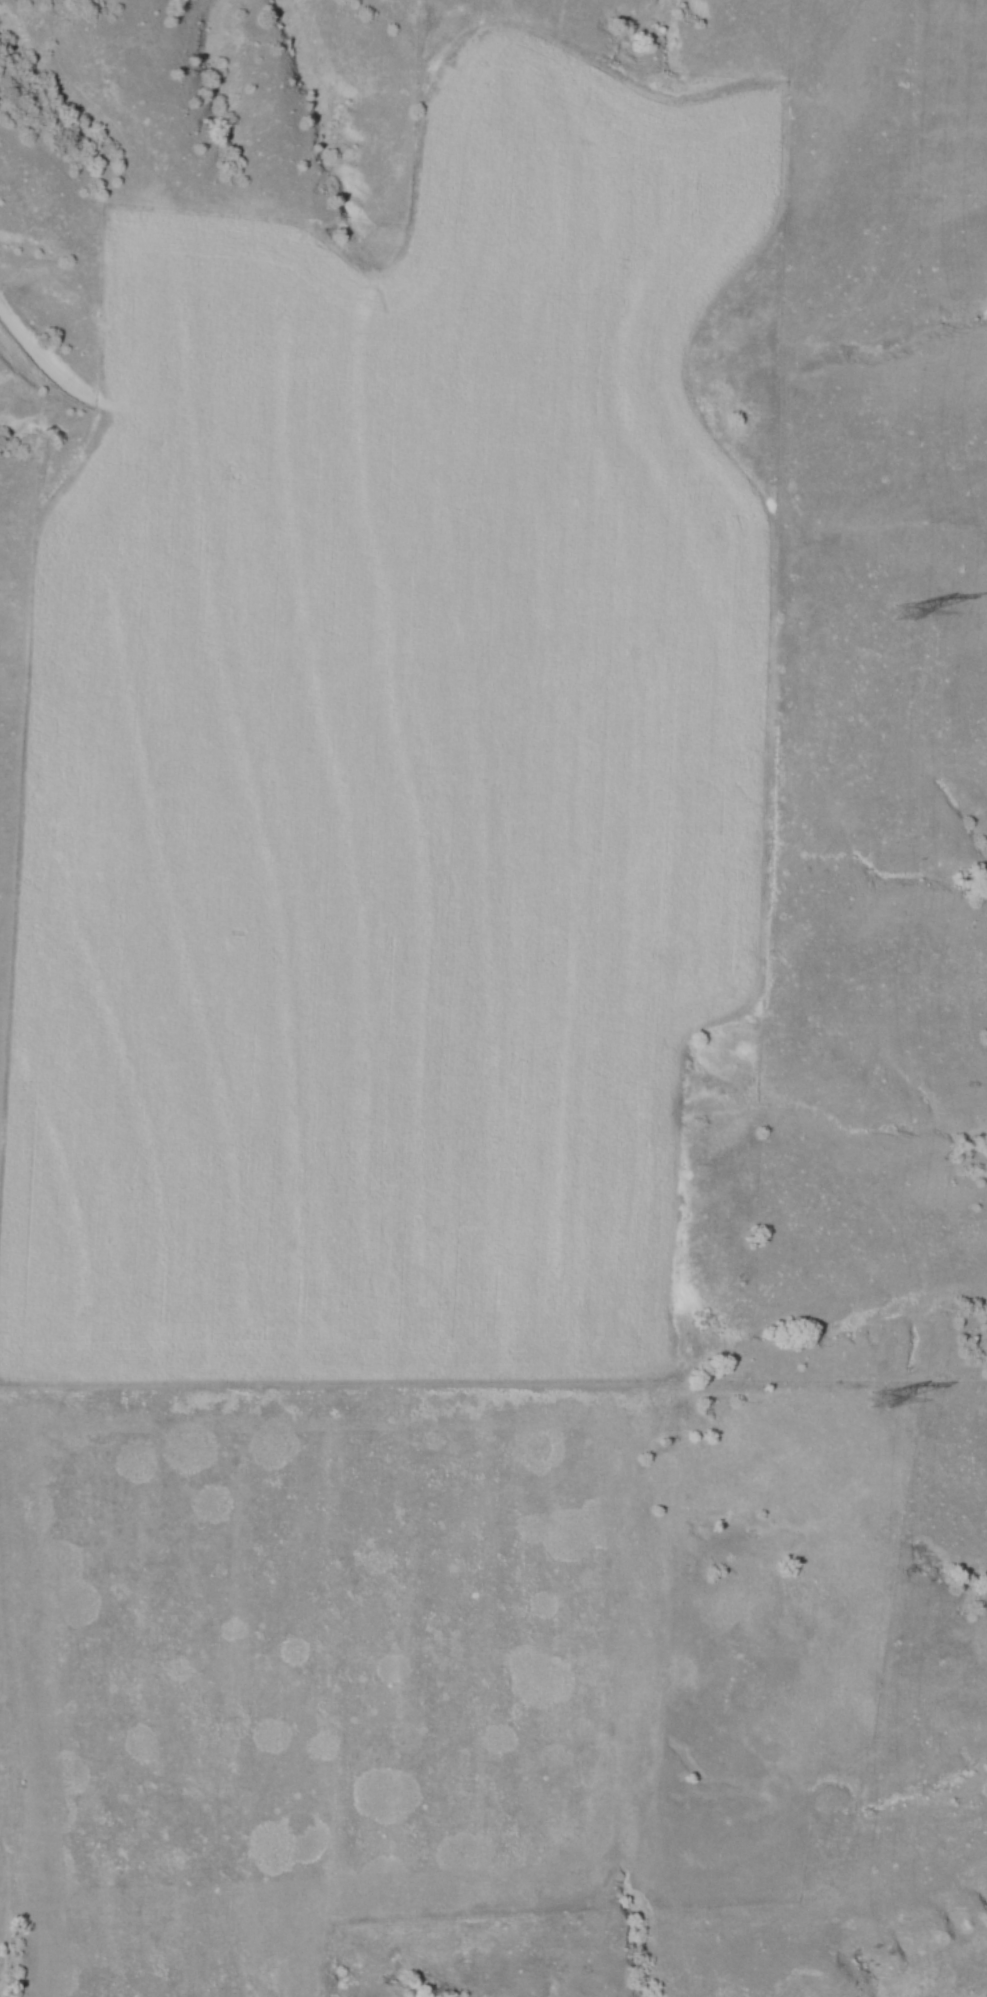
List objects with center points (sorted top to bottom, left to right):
power tower: (904, 613)
power tower: (879, 1400)

